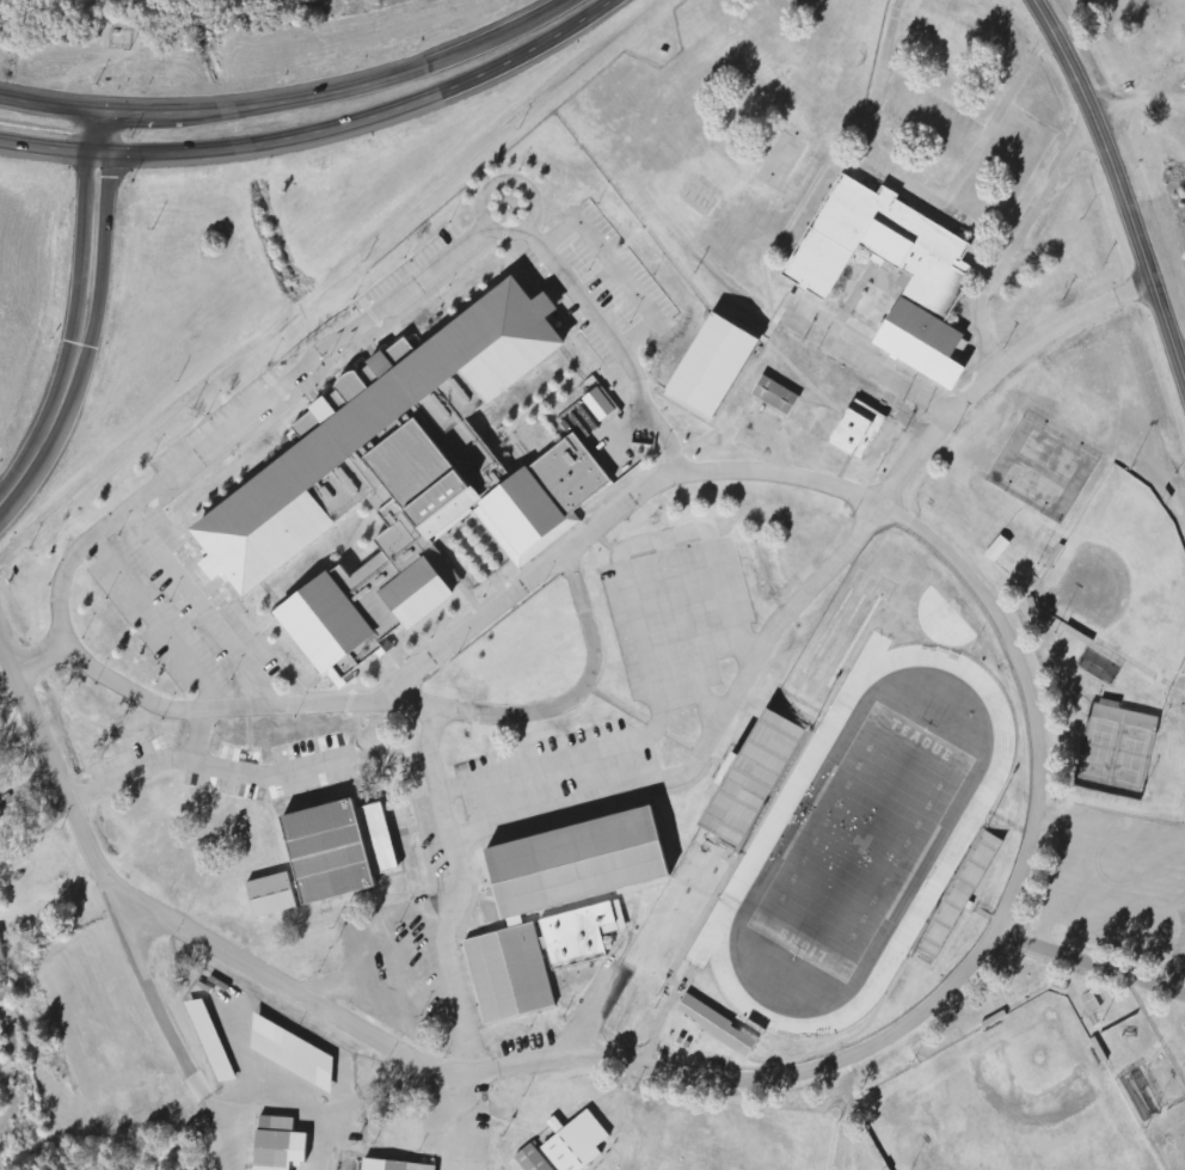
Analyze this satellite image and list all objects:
road: (548, 12)
road: (319, 98)
road: (49, 105)
road: (363, 124)
road: (48, 154)
road: (1124, 186)
building: (933, 289)
road: (377, 316)
road: (81, 319)
building: (710, 365)
building: (774, 396)
building: (598, 405)
building: (856, 430)
building: (403, 482)
road: (4, 498)
building: (997, 550)
road: (815, 619)
building: (748, 782)
building: (1, 817)
stadium: (859, 838)
building: (337, 851)
building: (270, 896)
building: (587, 917)
building: (1, 952)
road: (1092, 958)
building: (1091, 1004)
road: (927, 1006)
building: (717, 1027)
building: (210, 1042)
building: (291, 1054)
building: (575, 1143)
building: (278, 1145)
building: (532, 1159)
building: (392, 1166)

